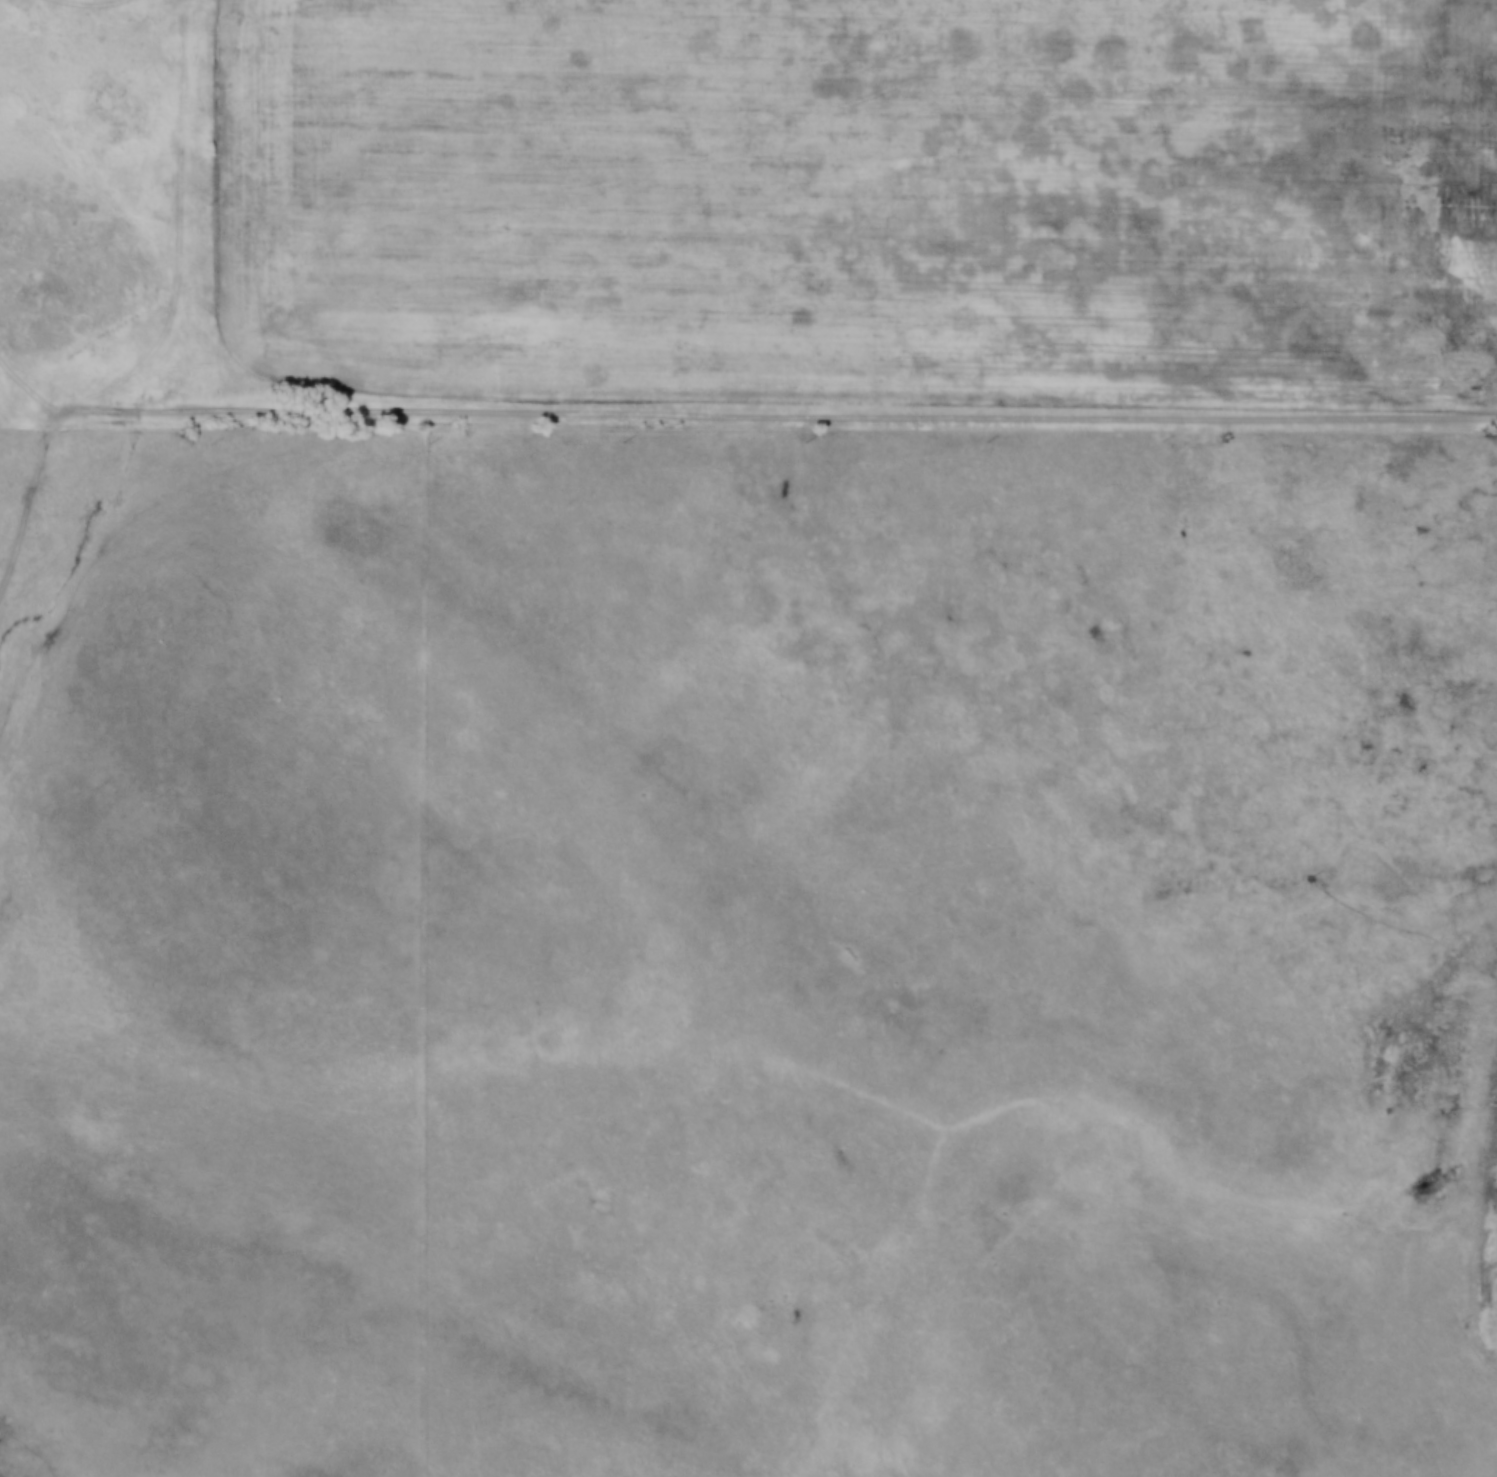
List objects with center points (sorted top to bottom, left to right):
road: (688, 413)

